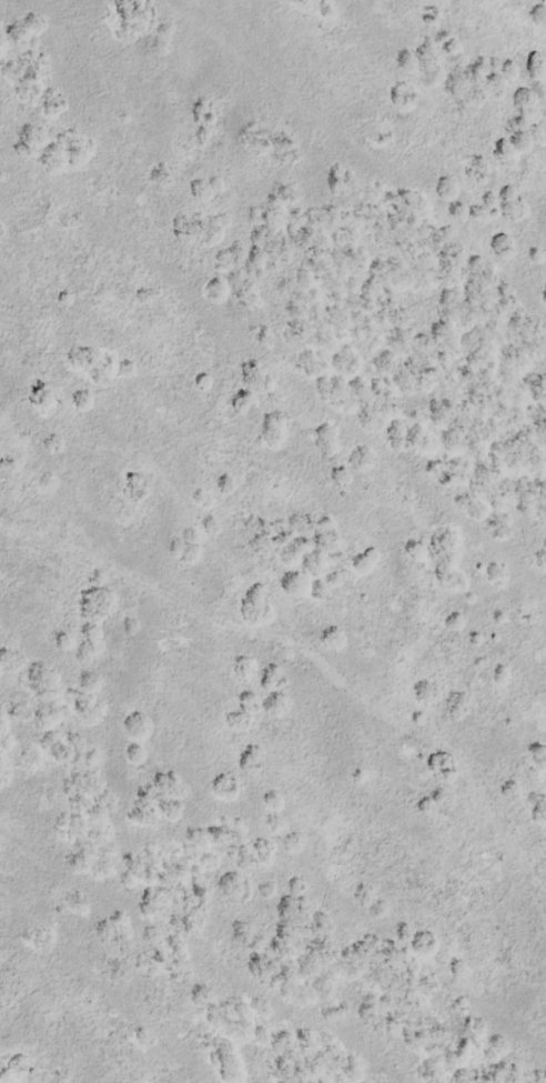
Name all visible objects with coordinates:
road: (210, 943)

